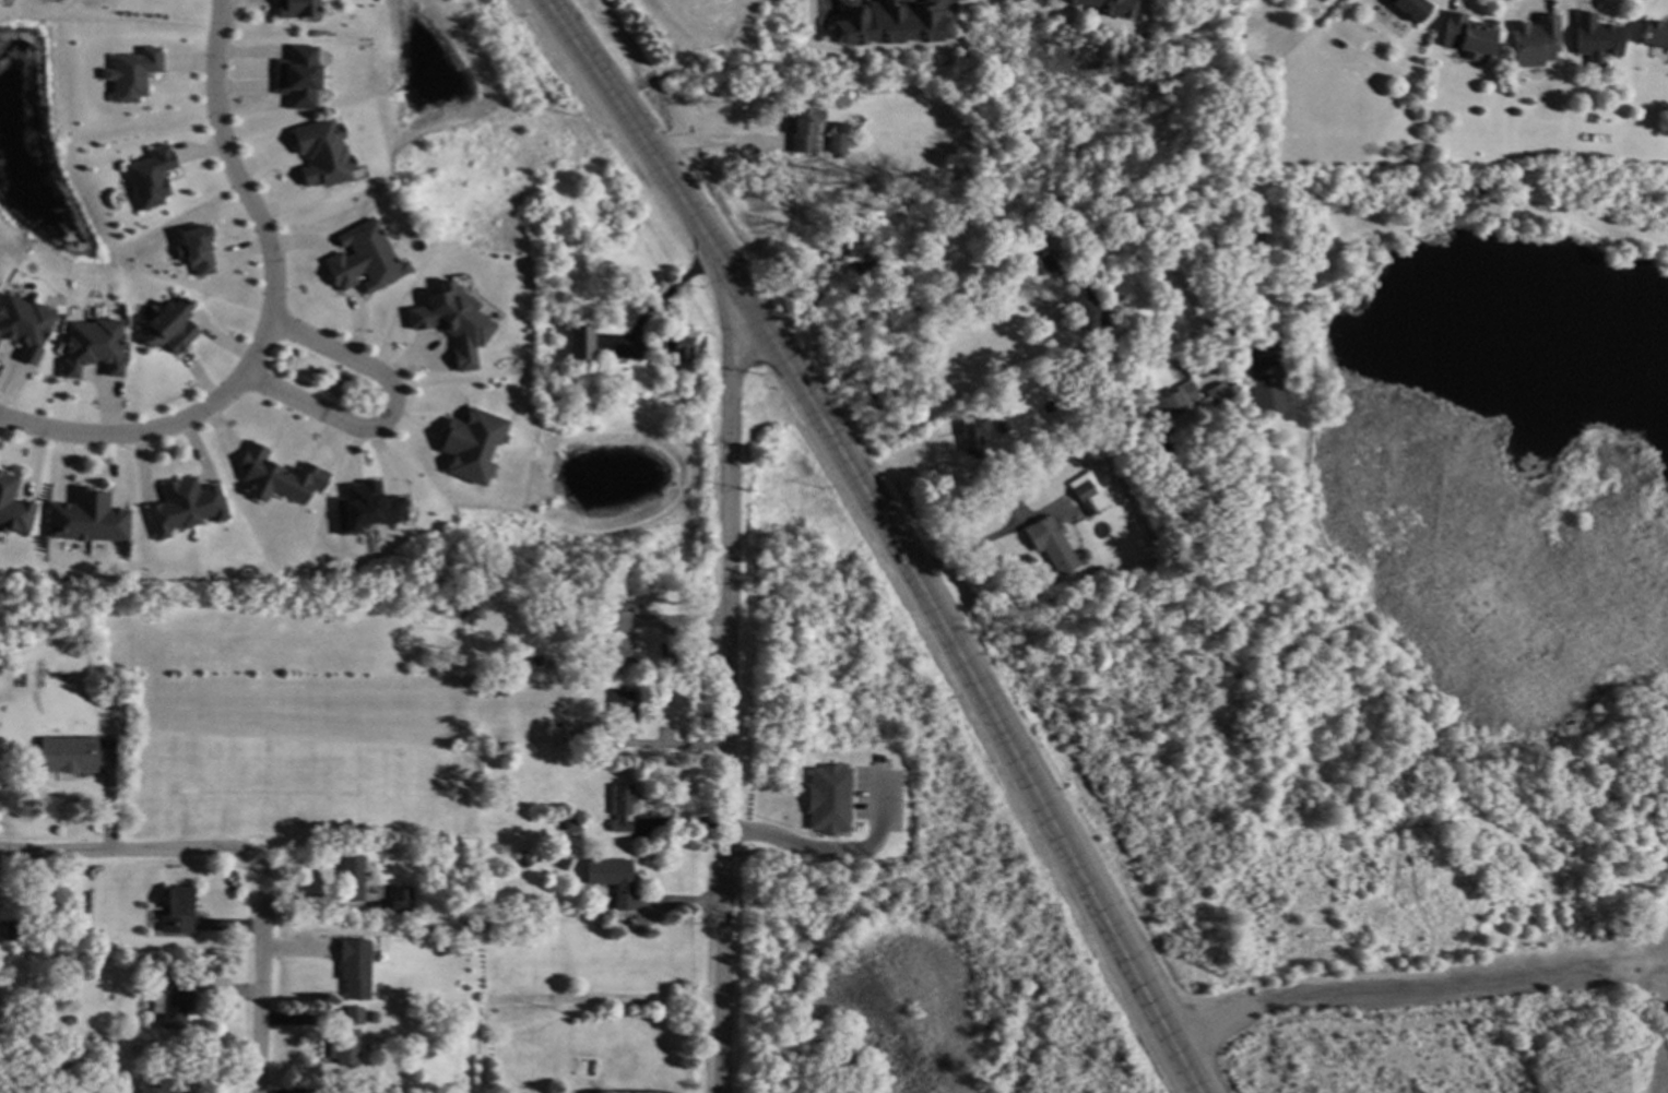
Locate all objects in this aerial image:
building: (299, 7)
building: (1107, 7)
building: (1407, 8)
building: (887, 23)
building: (1653, 35)
building: (1463, 36)
building: (1593, 36)
building: (1533, 40)
building: (131, 74)
building: (301, 76)
building: (803, 126)
building: (836, 143)
road: (705, 144)
building: (326, 153)
building: (150, 177)
road: (261, 222)
road: (1019, 227)
building: (851, 236)
building: (196, 250)
building: (366, 258)
building: (1045, 262)
building: (867, 271)
road: (661, 300)
building: (1087, 310)
building: (452, 322)
building: (25, 323)
building: (173, 323)
building: (582, 342)
building: (95, 345)
building: (678, 351)
building: (620, 380)
building: (1229, 389)
building: (1265, 390)
building: (1215, 393)
building: (1167, 403)
road: (395, 414)
building: (1205, 429)
road: (94, 438)
building: (971, 440)
building: (472, 443)
road: (912, 448)
building: (281, 475)
building: (1084, 497)
building: (13, 506)
building: (187, 506)
building: (365, 508)
building: (90, 516)
road: (890, 535)
building: (1049, 544)
road: (968, 548)
building: (618, 635)
road: (664, 643)
building: (539, 660)
building: (500, 689)
road: (725, 699)
building: (624, 708)
building: (115, 732)
building: (578, 737)
building: (71, 753)
building: (826, 799)
building: (624, 807)
building: (575, 824)
road: (135, 848)
road: (832, 851)
building: (528, 858)
building: (354, 876)
building: (615, 879)
building: (403, 899)
building: (177, 912)
building: (15, 930)
building: (94, 934)
building: (356, 966)
road: (259, 983)
road: (1444, 984)
building: (176, 1001)
building: (354, 1014)
building: (73, 1019)
road: (1218, 1020)
building: (106, 1042)
building: (345, 1046)
building: (46, 1066)
building: (165, 1085)
building: (570, 1091)

